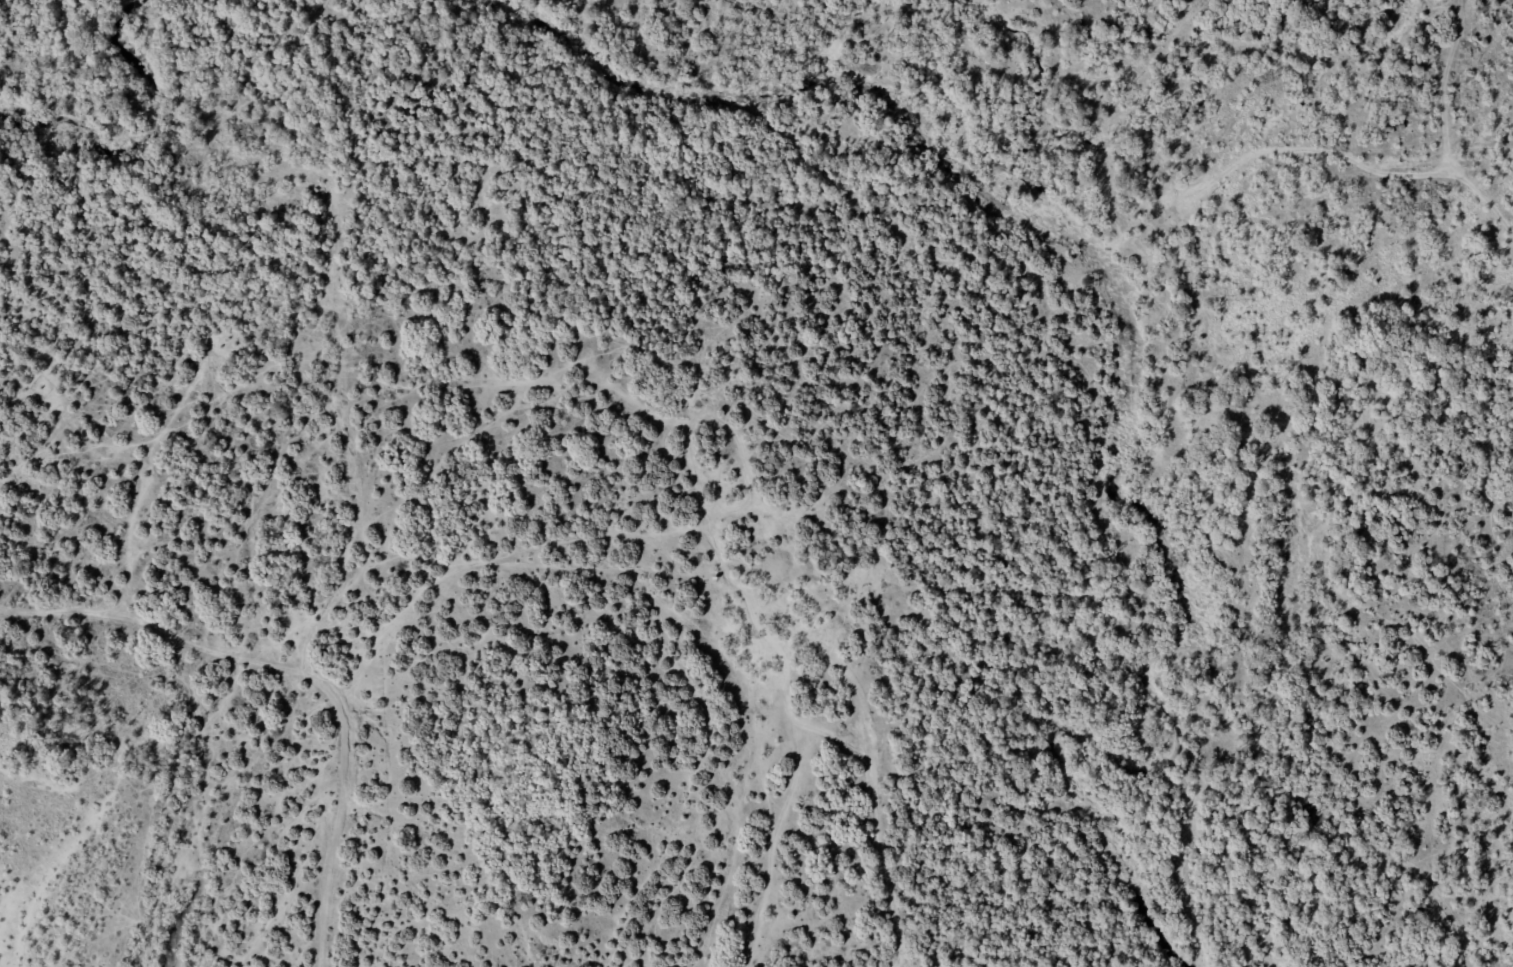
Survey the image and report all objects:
road: (290, 699)

